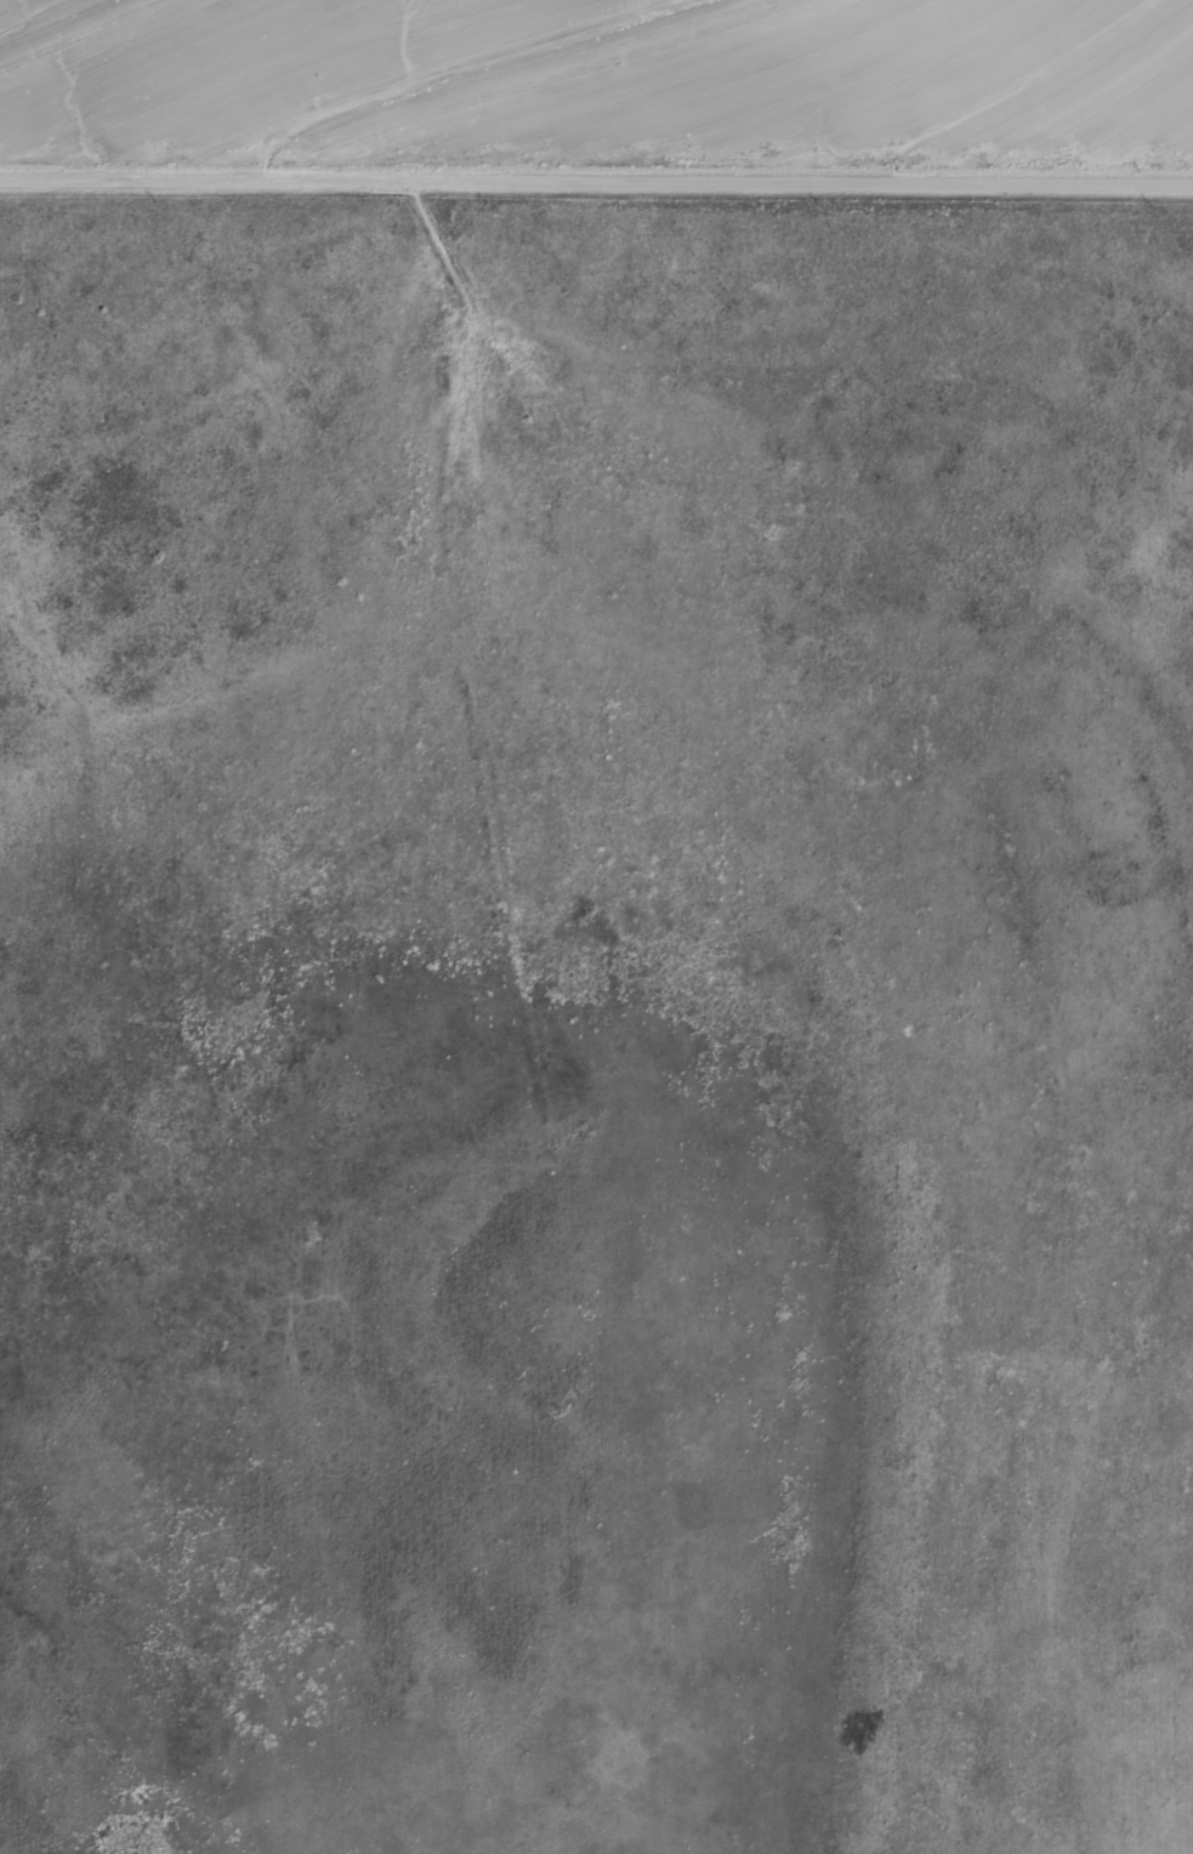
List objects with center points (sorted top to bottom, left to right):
road: (596, 184)

